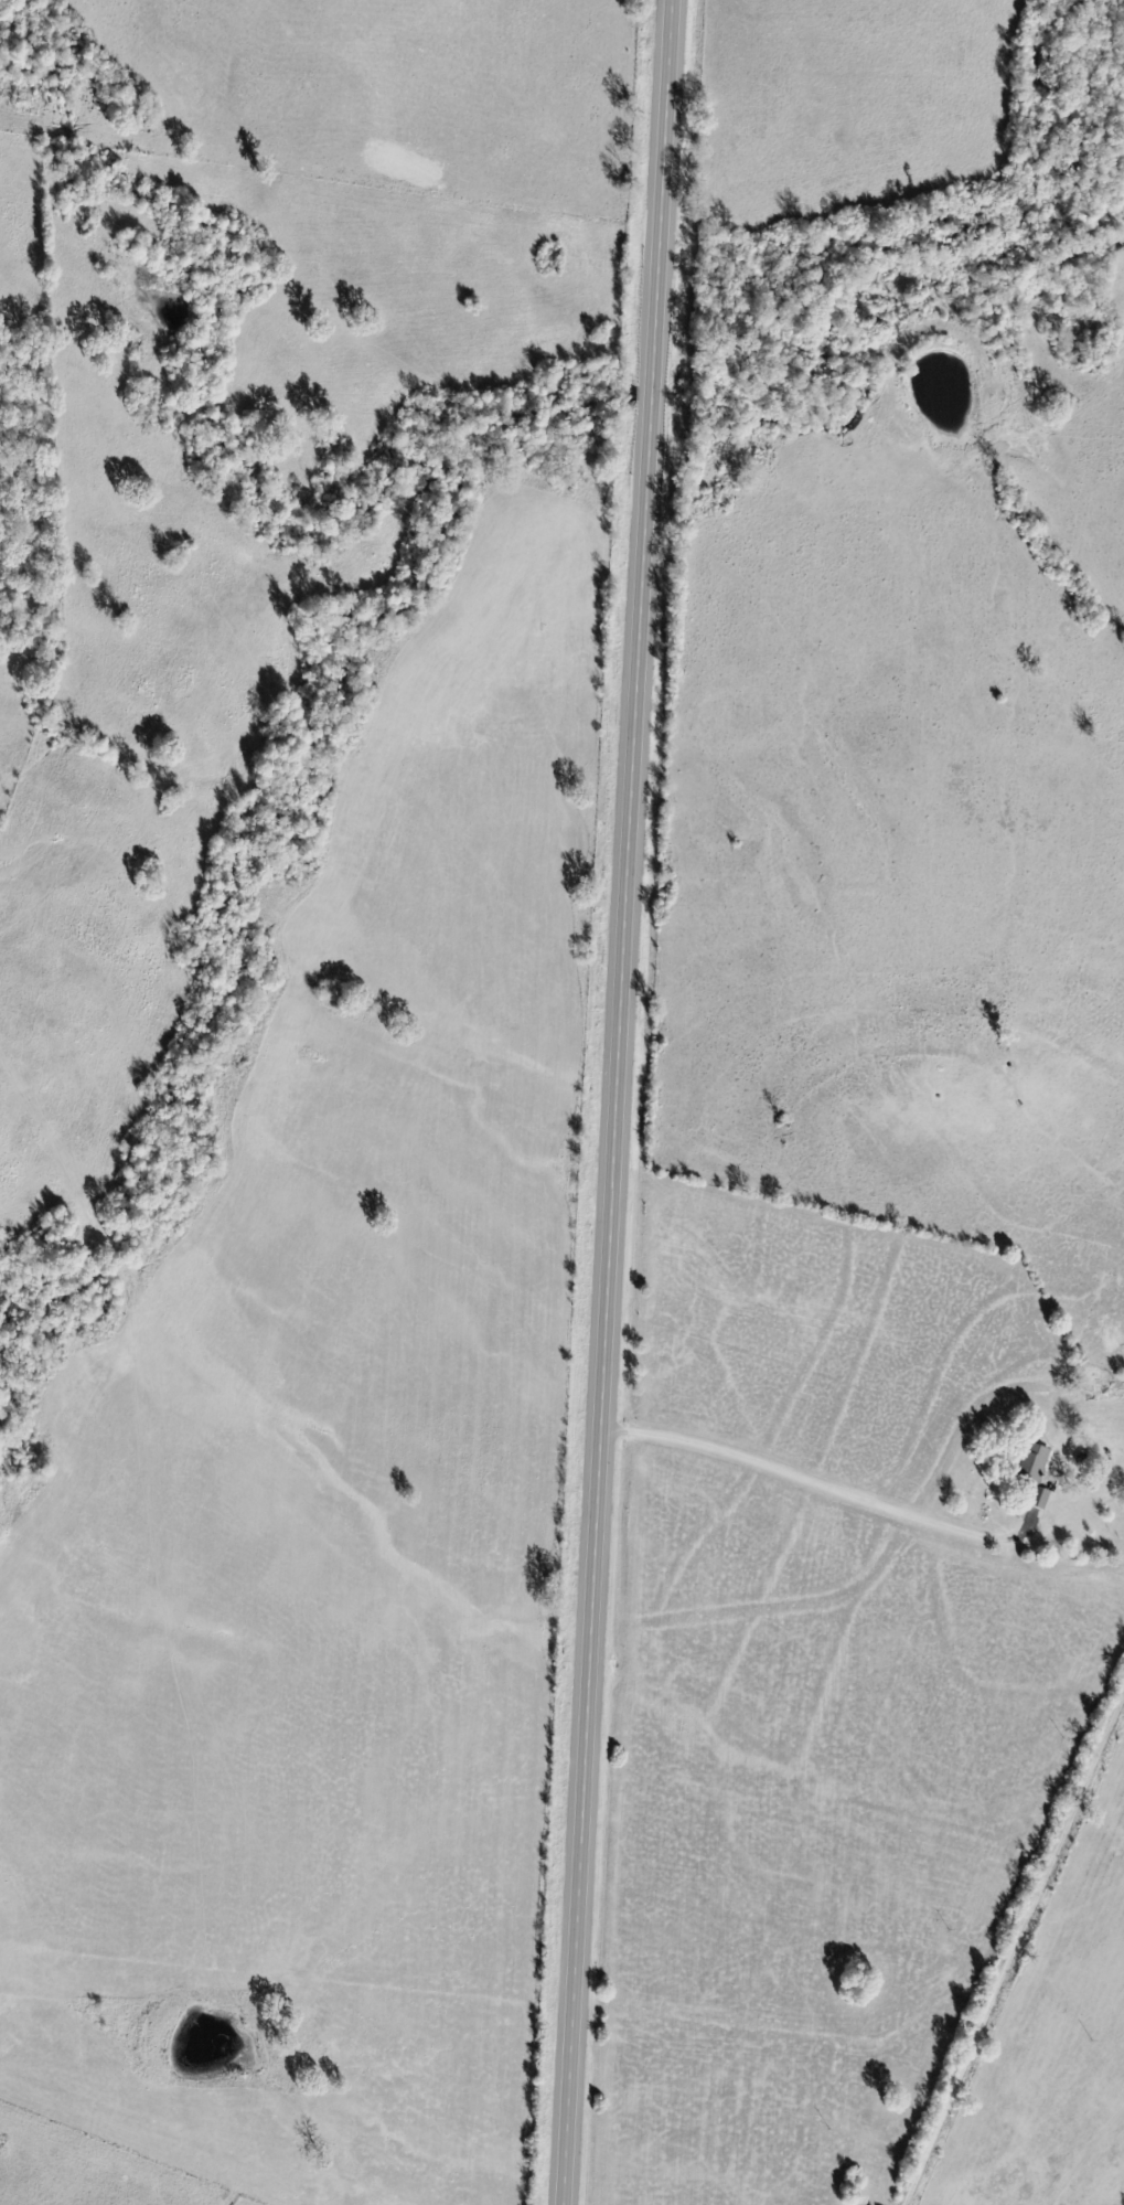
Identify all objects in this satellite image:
road: (619, 1101)
building: (1039, 1464)
road: (823, 1483)
road: (1014, 1951)

